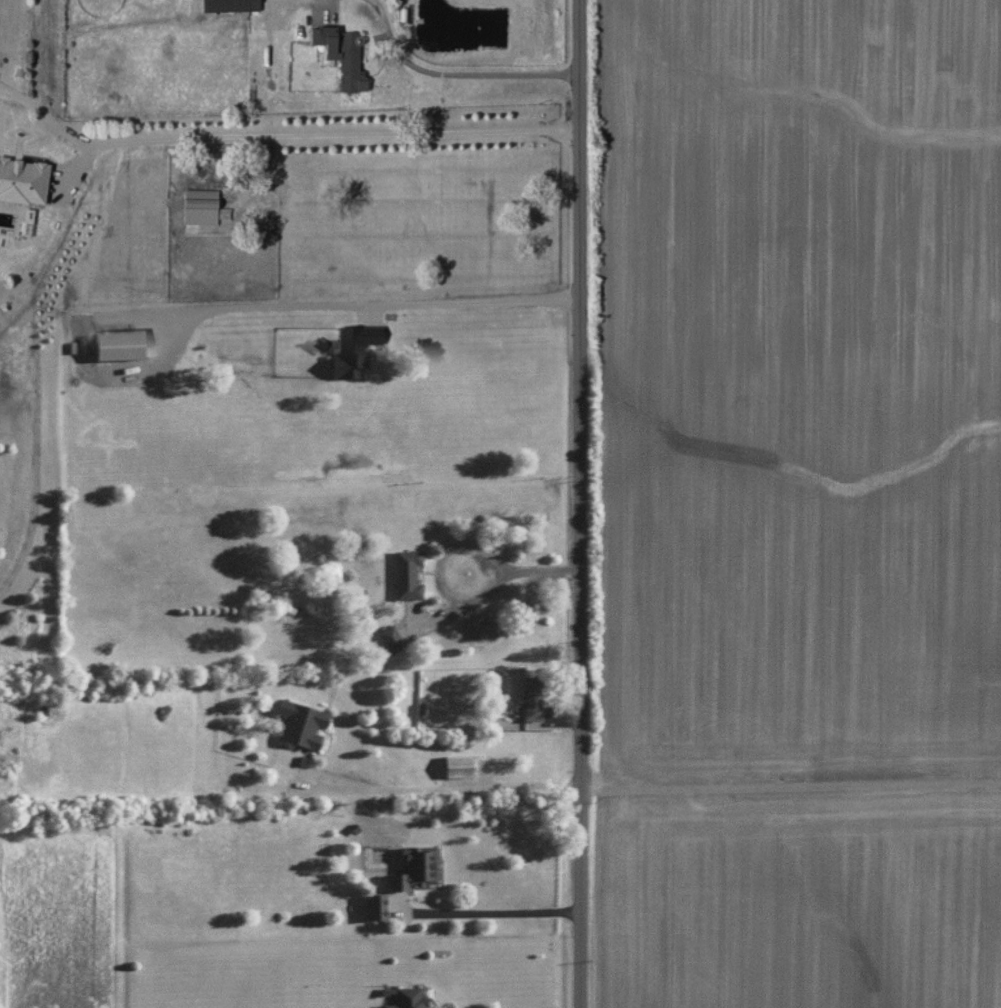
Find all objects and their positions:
building: (230, 5)
building: (342, 56)
road: (454, 74)
road: (280, 135)
building: (23, 181)
building: (200, 207)
road: (370, 304)
building: (120, 344)
building: (354, 349)
road: (580, 503)
road: (455, 544)
building: (408, 573)
building: (392, 637)
building: (533, 697)
building: (304, 724)
building: (459, 764)
road: (450, 789)
road: (791, 797)
building: (416, 866)
building: (377, 905)
road: (492, 912)
building: (408, 997)

